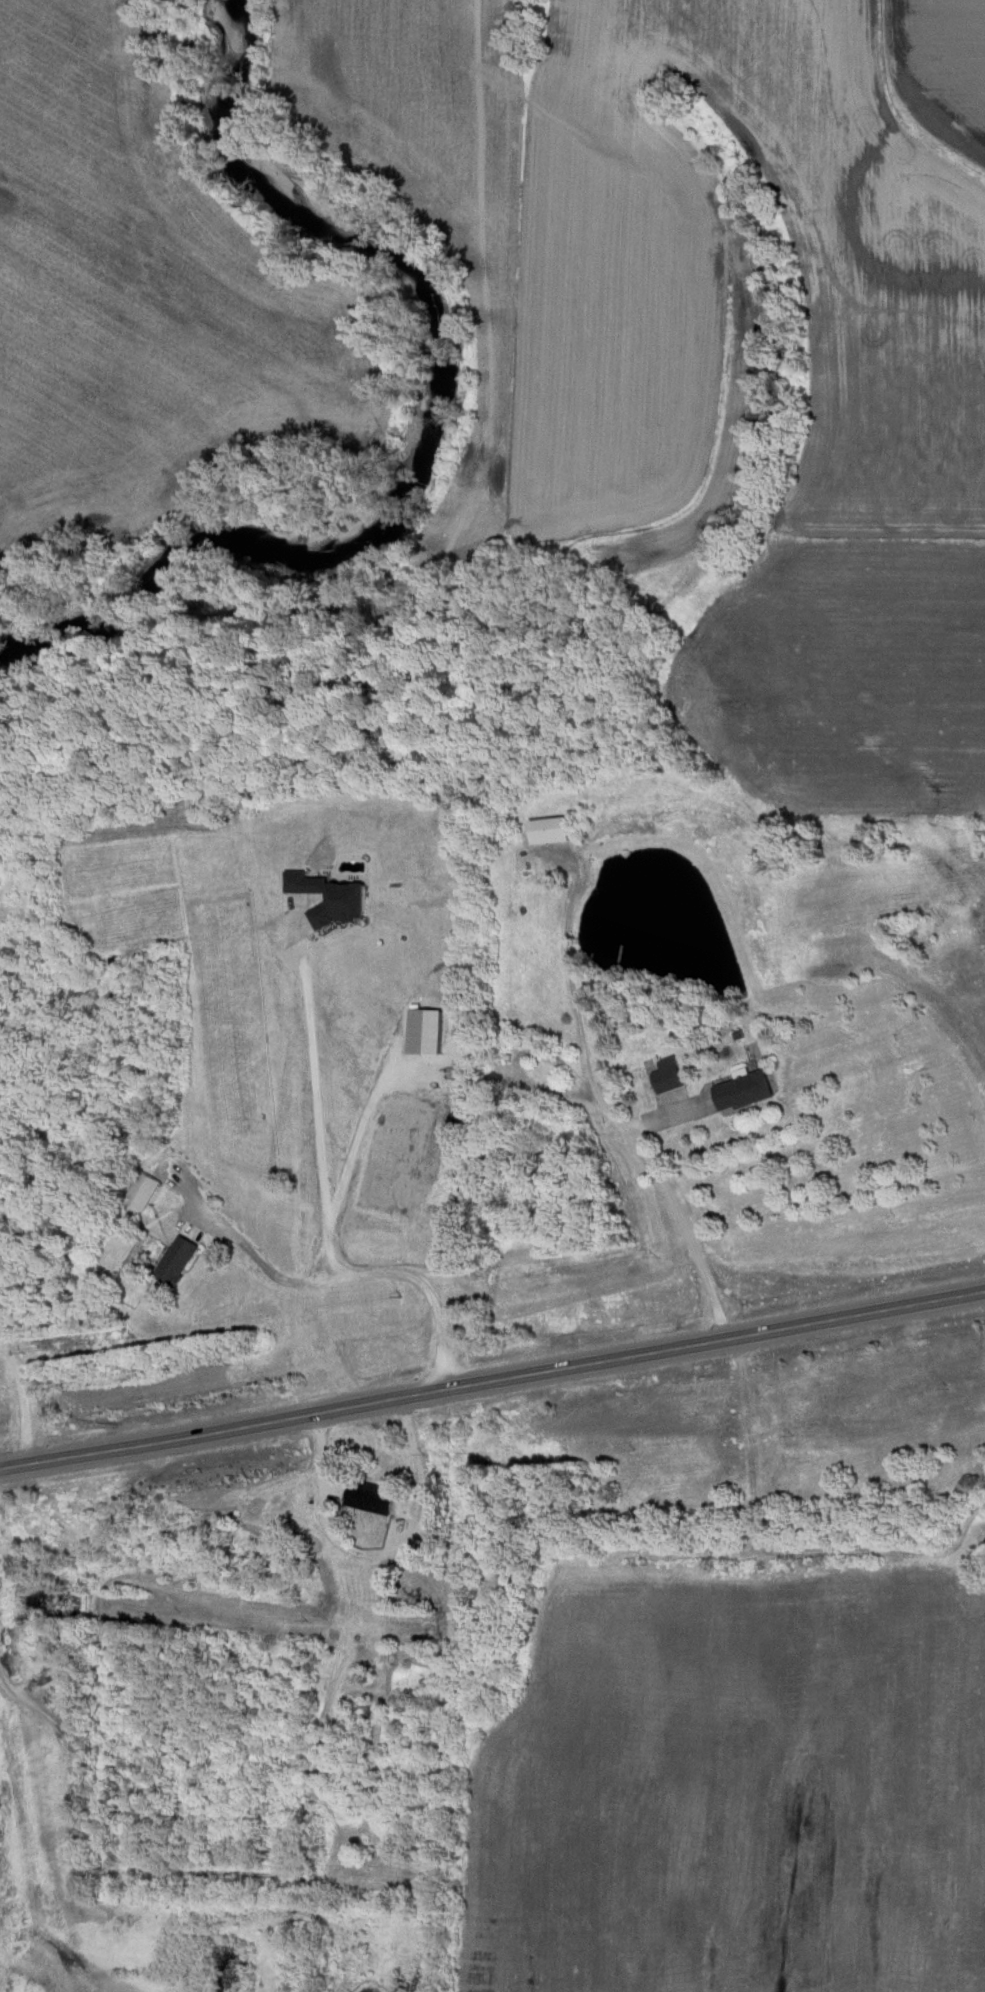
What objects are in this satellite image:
river: (426, 426)
building: (548, 832)
road: (575, 1024)
road: (523, 1051)
road: (311, 1073)
building: (665, 1077)
building: (740, 1092)
road: (350, 1163)
building: (144, 1192)
road: (681, 1232)
building: (361, 1234)
building: (178, 1260)
road: (345, 1278)
road: (492, 1382)
road: (23, 1404)
building: (368, 1499)
building: (274, 1520)
road: (377, 1554)
road: (72, 1770)

